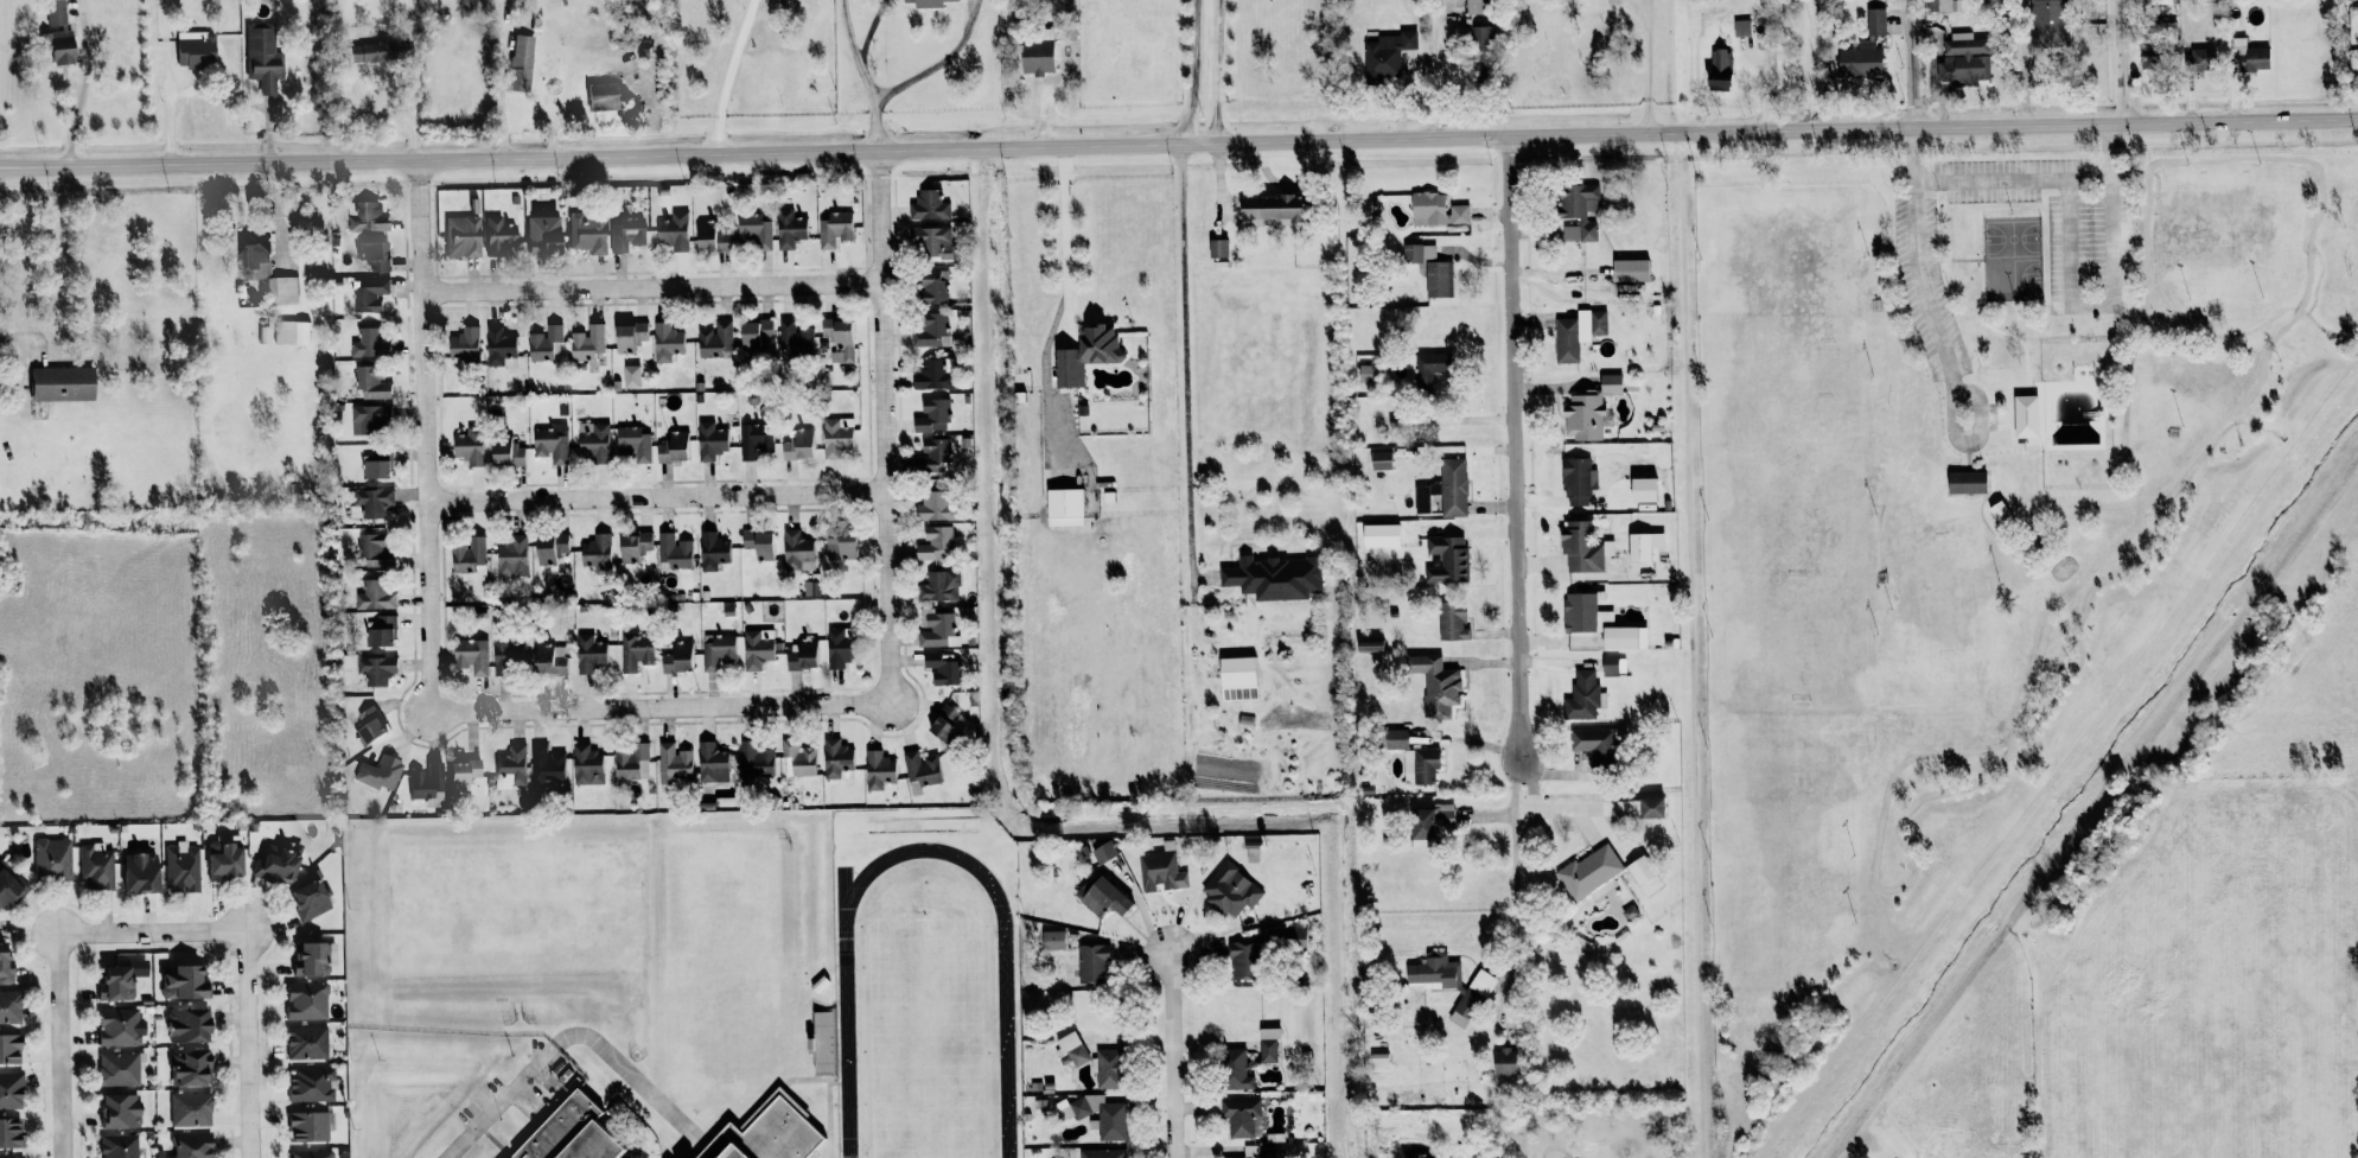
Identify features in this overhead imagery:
building: (923, 2)
building: (1940, 6)
building: (1474, 7)
building: (52, 12)
building: (1874, 21)
building: (2046, 23)
building: (1740, 27)
building: (2165, 27)
building: (56, 47)
building: (394, 49)
building: (1479, 50)
building: (193, 51)
road: (855, 52)
building: (1385, 55)
building: (2198, 59)
building: (2251, 59)
building: (262, 61)
building: (1860, 61)
building: (1963, 61)
building: (518, 63)
road: (939, 63)
road: (2126, 63)
road: (1805, 64)
road: (1910, 64)
road: (1648, 66)
building: (1717, 70)
road: (1190, 71)
road: (1216, 71)
road: (729, 76)
road: (79, 94)
building: (598, 96)
road: (875, 127)
road: (1179, 144)
road: (2040, 179)
building: (928, 206)
building: (1268, 208)
building: (1435, 210)
building: (1576, 210)
building: (364, 217)
building: (788, 229)
building: (834, 229)
building: (753, 230)
building: (673, 231)
building: (585, 233)
building: (627, 234)
building: (541, 235)
building: (460, 236)
building: (497, 236)
building: (709, 237)
building: (931, 241)
road: (1064, 246)
building: (1217, 248)
building: (250, 250)
building: (1419, 253)
building: (372, 256)
building: (1629, 271)
road: (1919, 273)
building: (1436, 279)
road: (651, 287)
building: (931, 287)
building: (281, 291)
building: (371, 293)
road: (2091, 303)
building: (929, 330)
building: (753, 333)
building: (1576, 333)
building: (293, 335)
road: (8, 336)
building: (629, 336)
building: (836, 339)
building: (714, 341)
building: (794, 341)
building: (586, 342)
building: (664, 343)
building: (368, 344)
building: (543, 344)
building: (463, 345)
building: (499, 348)
building: (1084, 355)
road: (1184, 360)
building: (1427, 373)
building: (1365, 374)
building: (930, 376)
building: (369, 383)
building: (58, 384)
building: (1587, 409)
building: (931, 415)
building: (2025, 416)
building: (369, 419)
road: (882, 427)
road: (425, 435)
building: (592, 441)
building: (708, 441)
building: (550, 443)
building: (754, 443)
building: (632, 444)
building: (467, 446)
building: (796, 446)
building: (673, 447)
building: (504, 452)
building: (932, 454)
road: (1517, 456)
building: (374, 457)
building: (1379, 460)
building: (374, 470)
building: (1576, 482)
building: (1964, 483)
building: (1445, 490)
road: (655, 497)
building: (372, 502)
building: (1613, 503)
building: (935, 507)
building: (1063, 508)
building: (2000, 514)
building: (1381, 536)
building: (936, 543)
building: (759, 545)
building: (369, 546)
building: (1643, 546)
building: (632, 547)
building: (841, 547)
building: (1581, 548)
building: (548, 549)
building: (595, 549)
building: (796, 549)
building: (673, 551)
building: (710, 552)
building: (467, 555)
building: (511, 556)
building: (1446, 560)
building: (1274, 578)
building: (938, 587)
building: (374, 594)
building: (1582, 615)
building: (1452, 622)
building: (936, 628)
building: (381, 631)
building: (1624, 638)
building: (1369, 645)
building: (756, 648)
building: (836, 648)
building: (716, 650)
building: (504, 651)
building: (635, 651)
building: (587, 653)
building: (802, 654)
building: (470, 655)
building: (676, 657)
building: (547, 658)
building: (1612, 667)
building: (375, 668)
building: (941, 668)
building: (1237, 677)
building: (1434, 685)
building: (1581, 696)
road: (661, 708)
building: (368, 724)
building: (937, 726)
building: (1395, 738)
road: (1474, 743)
building: (1593, 744)
building: (798, 757)
building: (756, 758)
building: (835, 758)
building: (710, 762)
building: (632, 763)
building: (586, 764)
building: (674, 765)
building: (1420, 765)
building: (510, 766)
building: (544, 766)
building: (920, 768)
building: (878, 769)
building: (377, 772)
building: (460, 772)
building: (426, 783)
building: (1649, 807)
building: (1427, 822)
building: (1103, 852)
building: (50, 858)
building: (219, 859)
building: (274, 863)
road: (1513, 864)
building: (94, 866)
building: (179, 866)
building: (135, 871)
building: (1161, 871)
building: (1591, 873)
building: (1644, 876)
building: (9, 887)
building: (1230, 890)
building: (1102, 896)
building: (305, 899)
building: (1629, 912)
building: (1293, 936)
building: (1051, 940)
road: (248, 947)
building: (312, 956)
building: (1091, 962)
building: (5, 969)
building: (1433, 972)
building: (115, 981)
building: (1481, 982)
building: (304, 1000)
building: (8, 1006)
building: (1461, 1012)
building: (183, 1024)
building: (115, 1026)
road: (1179, 1041)
building: (304, 1042)
road: (57, 1043)
track: (1005, 1044)
building: (1268, 1045)
building: (8, 1048)
building: (1070, 1049)
building: (1378, 1062)
building: (1503, 1062)
building: (186, 1068)
building: (1105, 1068)
building: (115, 1069)
building: (1235, 1069)
building: (307, 1084)
building: (8, 1089)
building: (189, 1108)
building: (115, 1109)
building: (1241, 1116)
building: (1110, 1118)
road: (478, 1121)
building: (305, 1126)
building: (8, 1132)
building: (568, 1134)
building: (766, 1134)
building: (116, 1146)
building: (189, 1146)
building: (1267, 1152)
building: (307, 1153)
building: (1100, 1153)
building: (1237, 1157)

